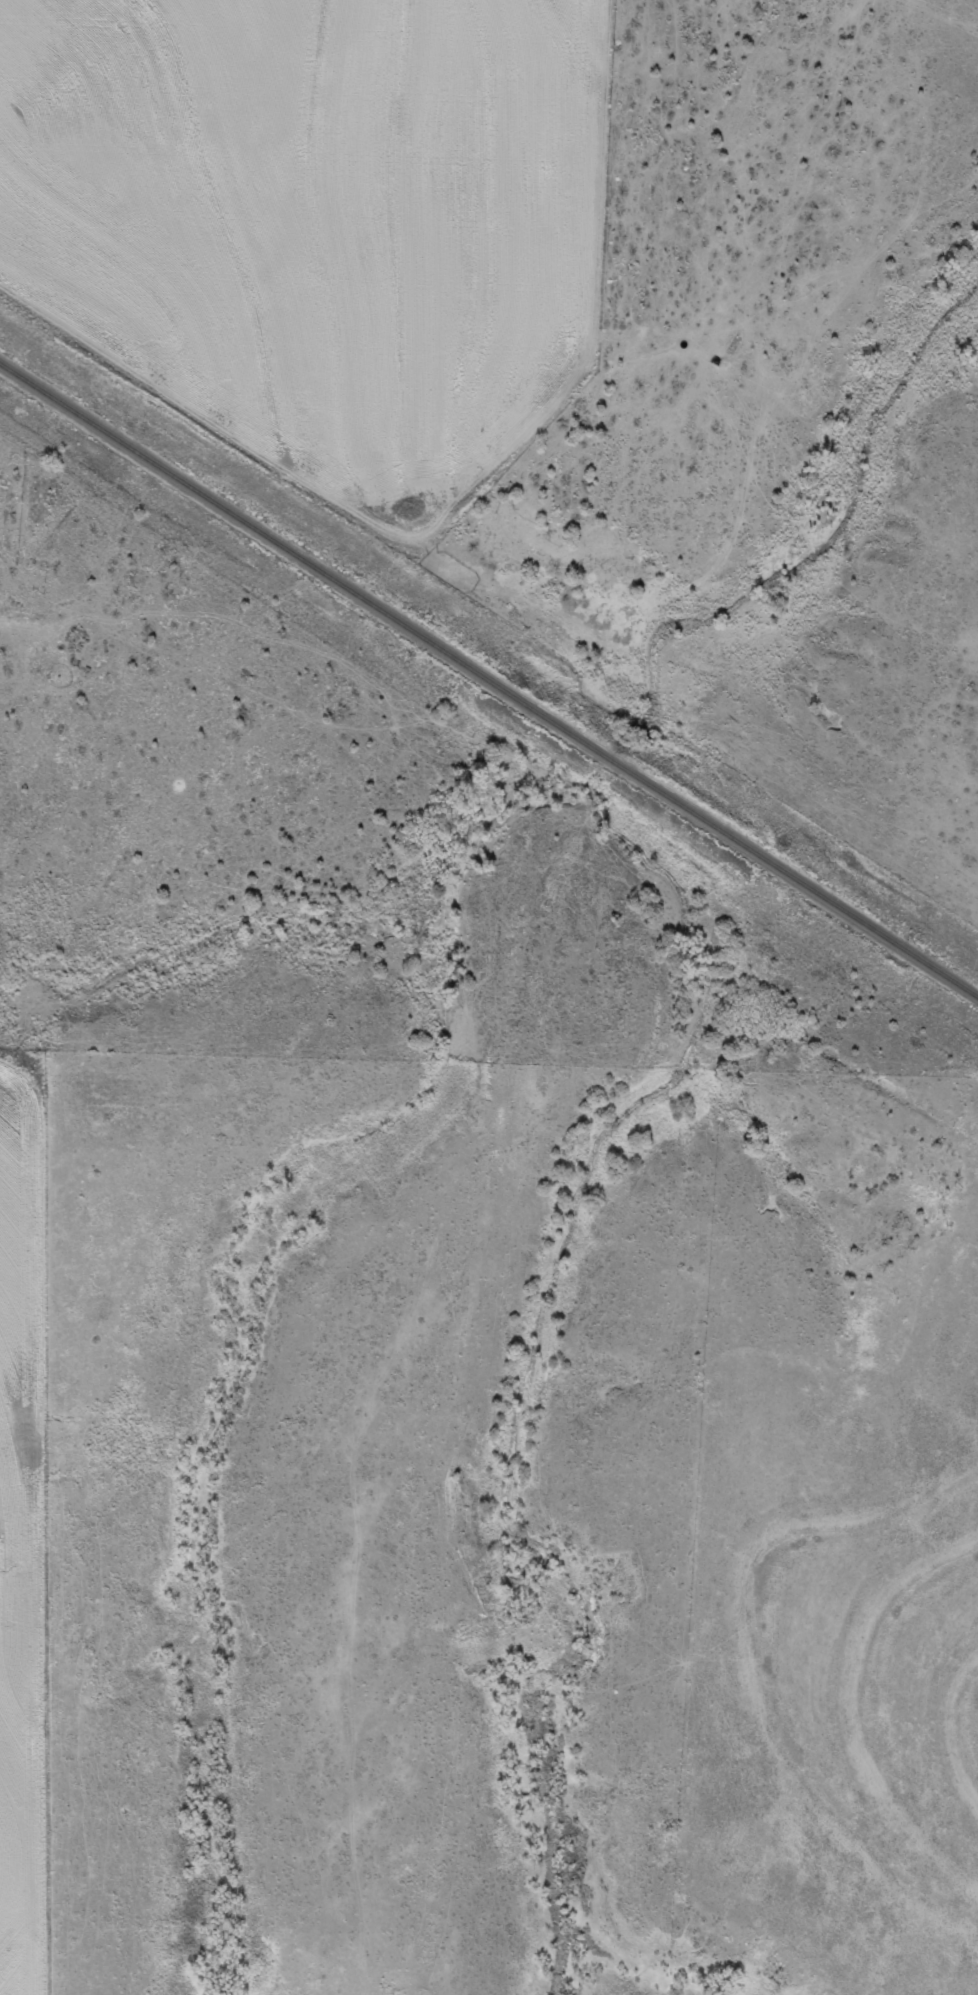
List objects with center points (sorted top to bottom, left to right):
railway: (489, 688)

